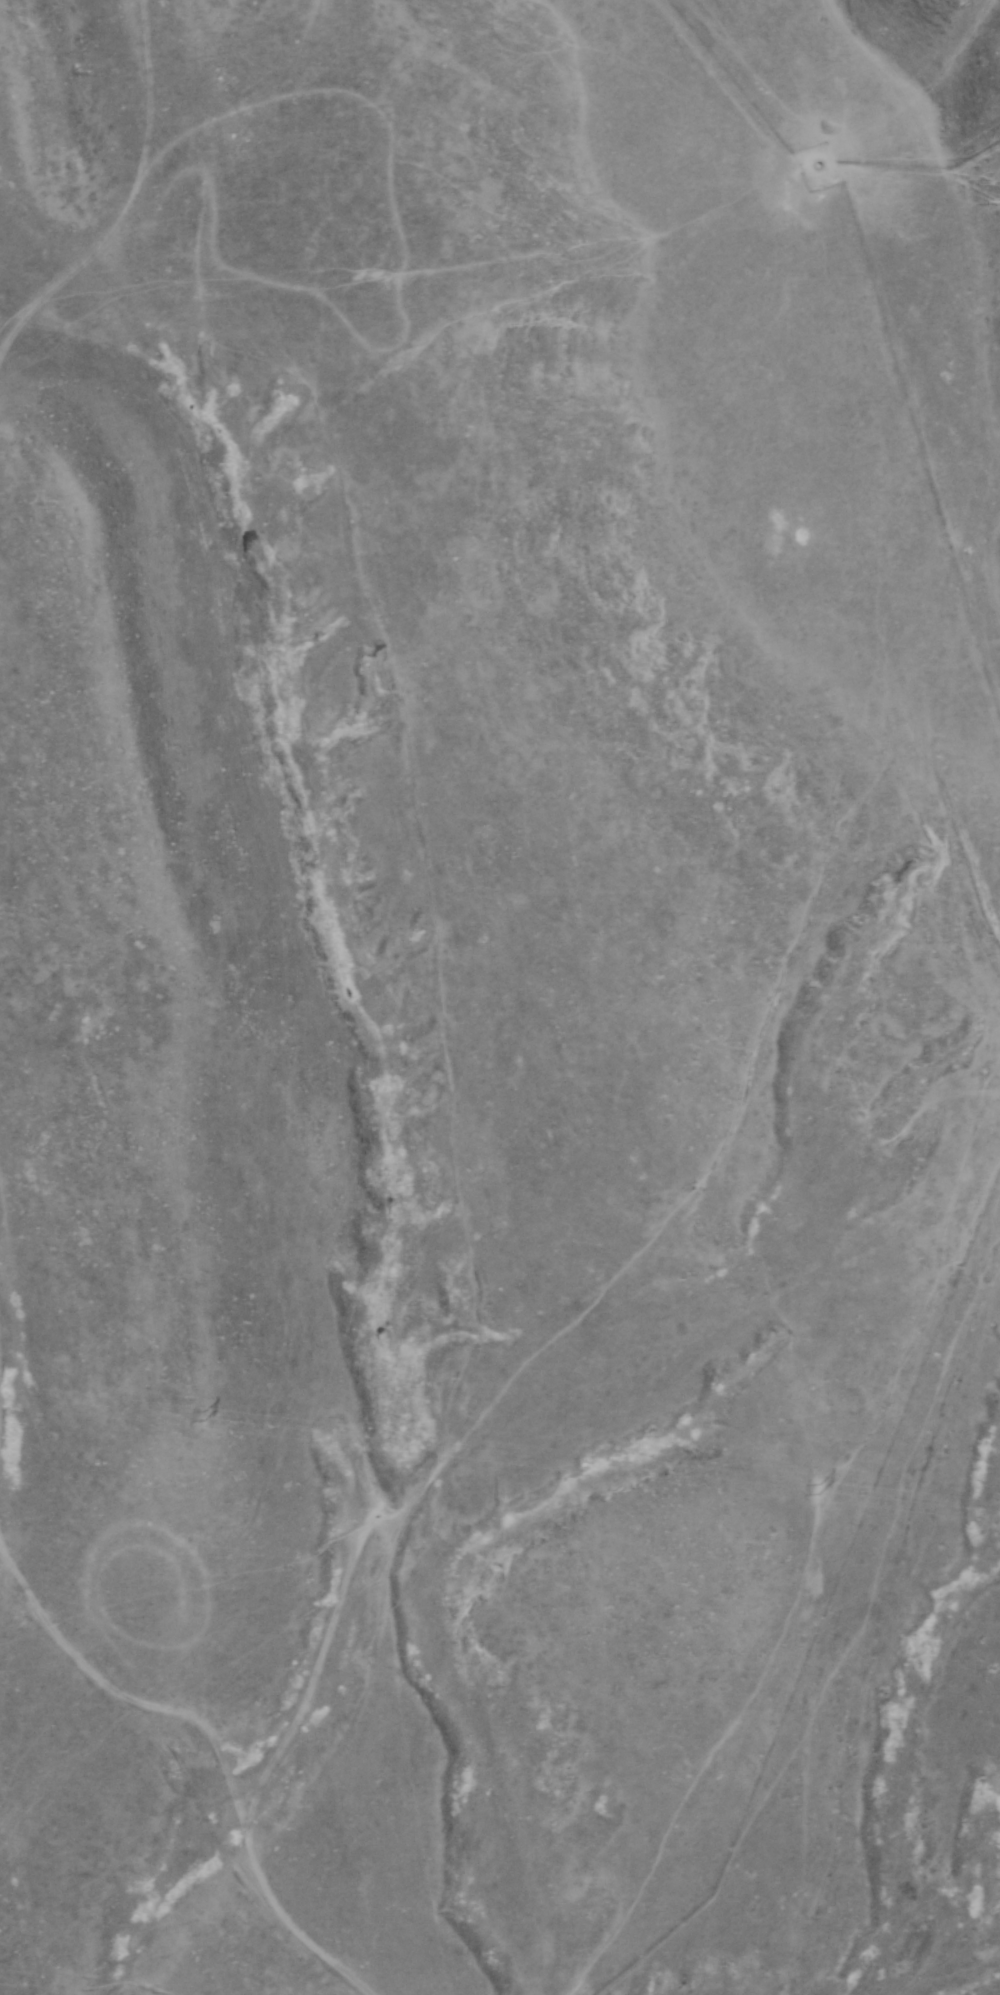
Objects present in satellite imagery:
power tower: (203, 1417)
power tower: (819, 1490)

